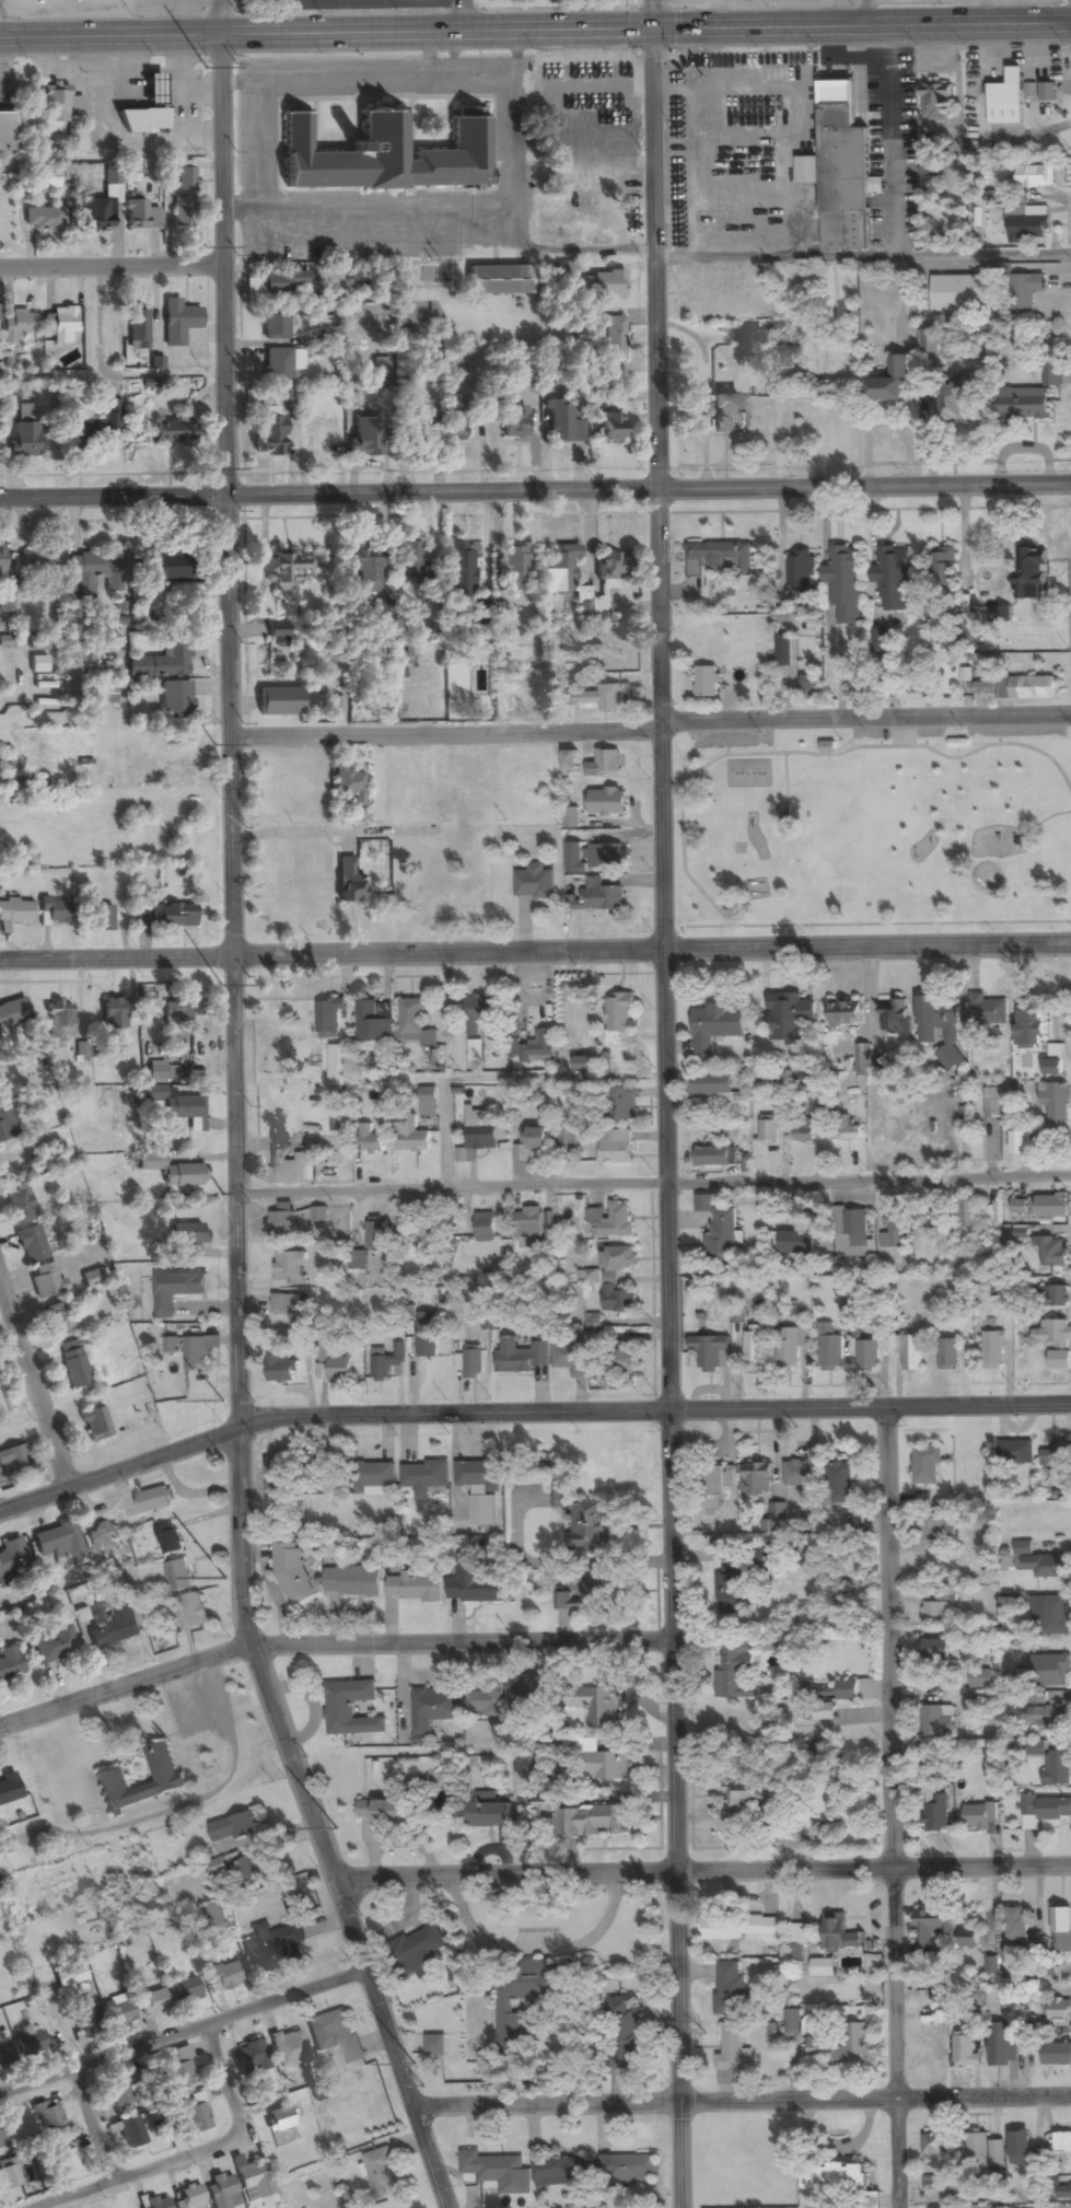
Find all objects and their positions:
road: (463, 14)
traffic signals: (651, 25)
road: (535, 27)
road: (0, 63)
power tower: (203, 67)
road: (235, 80)
building: (152, 91)
building: (1047, 92)
building: (1005, 100)
building: (936, 101)
building: (59, 105)
building: (141, 123)
building: (7, 133)
road: (110, 137)
road: (515, 142)
road: (255, 146)
building: (393, 149)
building: (842, 160)
building: (185, 177)
building: (1036, 177)
building: (49, 182)
road: (237, 211)
building: (182, 213)
building: (97, 216)
building: (139, 218)
building: (43, 219)
building: (1027, 224)
power tower: (206, 246)
road: (862, 254)
road: (110, 265)
building: (497, 281)
building: (601, 284)
building: (271, 287)
building: (1025, 291)
building: (957, 297)
building: (177, 324)
building: (18, 326)
building: (62, 326)
building: (275, 326)
building: (136, 334)
building: (613, 340)
building: (930, 342)
building: (790, 352)
building: (281, 367)
building: (380, 370)
building: (1051, 374)
building: (889, 382)
building: (1023, 403)
building: (955, 405)
building: (721, 414)
building: (454, 419)
building: (416, 421)
building: (512, 423)
building: (560, 423)
building: (95, 430)
building: (608, 430)
building: (173, 434)
building: (270, 437)
building: (364, 437)
building: (23, 441)
power tower: (209, 468)
road: (535, 491)
building: (719, 559)
building: (408, 561)
building: (0, 562)
building: (37, 563)
building: (514, 570)
building: (557, 571)
building: (92, 572)
building: (162, 572)
building: (801, 572)
building: (281, 573)
building: (1025, 573)
building: (457, 574)
building: (361, 576)
building: (893, 579)
building: (943, 581)
building: (845, 584)
building: (598, 589)
road: (27, 618)
building: (276, 632)
building: (880, 641)
building: (162, 663)
building: (513, 674)
building: (707, 683)
building: (1017, 688)
building: (102, 696)
building: (598, 699)
building: (174, 701)
building: (276, 702)
building: (335, 706)
building: (519, 707)
road: (650, 724)
power tower: (214, 744)
building: (174, 757)
building: (569, 758)
building: (604, 764)
building: (348, 786)
building: (606, 802)
building: (571, 817)
park: (870, 829)
building: (604, 856)
building: (347, 882)
building: (534, 882)
building: (606, 899)
building: (15, 913)
building: (50, 913)
building: (170, 917)
building: (100, 919)
road: (535, 950)
power tower: (219, 984)
building: (481, 1009)
building: (988, 1009)
building: (845, 1013)
building: (12, 1014)
building: (113, 1014)
building: (894, 1016)
building: (329, 1018)
building: (785, 1018)
building: (619, 1019)
building: (59, 1020)
building: (938, 1020)
building: (372, 1023)
building: (416, 1023)
building: (715, 1025)
building: (1031, 1029)
building: (533, 1047)
building: (862, 1060)
building: (1055, 1060)
building: (581, 1065)
building: (339, 1066)
building: (159, 1072)
building: (804, 1077)
building: (715, 1091)
building: (992, 1102)
building: (1055, 1102)
building: (428, 1103)
road: (667, 1103)
building: (621, 1104)
building: (174, 1107)
road: (235, 1120)
building: (5, 1126)
building: (768, 1129)
building: (803, 1130)
building: (845, 1130)
building: (479, 1131)
building: (410, 1135)
building: (537, 1139)
building: (567, 1139)
building: (370, 1140)
building: (992, 1142)
building: (1020, 1142)
building: (616, 1146)
building: (54, 1150)
building: (713, 1157)
building: (288, 1167)
building: (172, 1172)
road: (653, 1182)
power tower: (221, 1194)
building: (1052, 1206)
building: (1018, 1207)
building: (18, 1208)
building: (968, 1215)
building: (612, 1220)
building: (528, 1223)
building: (282, 1225)
building: (485, 1228)
building: (424, 1230)
building: (375, 1233)
building: (719, 1233)
building: (852, 1233)
building: (186, 1234)
building: (798, 1239)
building: (30, 1245)
building: (1053, 1252)
building: (359, 1258)
building: (613, 1264)
building: (290, 1269)
building: (91, 1279)
building: (46, 1281)
building: (175, 1291)
building: (1050, 1295)
building: (618, 1300)
building: (58, 1320)
building: (1055, 1333)
building: (427, 1335)
building: (172, 1346)
building: (754, 1346)
building: (791, 1347)
building: (829, 1348)
building: (992, 1350)
building: (199, 1351)
building: (711, 1352)
building: (910, 1352)
building: (947, 1353)
building: (868, 1356)
building: (521, 1357)
building: (570, 1358)
building: (622, 1360)
building: (1059, 1360)
building: (386, 1362)
building: (473, 1363)
building: (73, 1366)
building: (281, 1368)
road: (33, 1385)
power tower: (224, 1399)
road: (677, 1403)
building: (2, 1404)
building: (95, 1426)
building: (1015, 1452)
building: (1057, 1456)
building: (13, 1461)
road: (141, 1461)
building: (927, 1465)
building: (801, 1473)
building: (478, 1474)
building: (280, 1475)
building: (377, 1475)
building: (426, 1475)
building: (757, 1477)
building: (839, 1483)
building: (714, 1486)
building: (152, 1501)
building: (779, 1512)
building: (584, 1522)
building: (938, 1526)
building: (103, 1539)
building: (168, 1539)
building: (59, 1546)
building: (11, 1557)
building: (1038, 1564)
building: (292, 1572)
building: (178, 1577)
power tower: (225, 1577)
building: (351, 1582)
building: (473, 1582)
building: (415, 1588)
building: (729, 1590)
building: (586, 1595)
building: (933, 1611)
building: (191, 1613)
building: (1051, 1614)
building: (107, 1626)
road: (330, 1641)
building: (54, 1646)
building: (935, 1651)
building: (9, 1664)
building: (735, 1671)
building: (1049, 1671)
building: (980, 1678)
building: (527, 1688)
building: (847, 1690)
building: (485, 1701)
building: (595, 1704)
building: (434, 1708)
building: (350, 1709)
building: (824, 1711)
building: (1049, 1716)
building: (938, 1721)
building: (742, 1723)
building: (1052, 1764)
building: (604, 1766)
building: (168, 1779)
building: (9, 1789)
building: (742, 1796)
road: (889, 1803)
building: (1046, 1809)
building: (384, 1812)
building: (487, 1812)
building: (935, 1814)
building: (581, 1817)
building: (979, 1817)
building: (238, 1826)
power tower: (337, 1828)
building: (810, 1828)
building: (253, 1869)
road: (706, 1875)
building: (295, 1910)
building: (89, 1917)
building: (932, 1927)
building: (1016, 1927)
building: (737, 1928)
building: (839, 1933)
building: (1061, 1933)
building: (798, 1936)
building: (967, 1938)
building: (273, 1948)
building: (418, 1951)
building: (991, 1966)
building: (69, 1976)
building: (222, 1977)
building: (730, 1989)
building: (186, 1991)
building: (525, 1996)
building: (151, 2003)
building: (1059, 2010)
building: (121, 2013)
building: (83, 2014)
building: (624, 2031)
road: (184, 2033)
building: (336, 2035)
building: (34, 2043)
building: (435, 2045)
building: (1001, 2046)
building: (931, 2047)
building: (965, 2047)
building: (288, 2048)
building: (842, 2048)
building: (732, 2053)
building: (1, 2055)
building: (1056, 2055)
building: (249, 2058)
power tower: (414, 2061)
building: (176, 2070)
road: (234, 2081)
building: (119, 2092)
road: (741, 2101)
building: (48, 2117)
building: (194, 2118)
building: (280, 2119)
road: (102, 2126)
building: (130, 2134)
building: (2, 2141)
building: (1062, 2143)
building: (934, 2147)
building: (1018, 2148)
building: (985, 2151)
building: (62, 2159)
building: (491, 2166)
building: (626, 2169)
building: (560, 2173)
road: (142, 2174)
building: (382, 2174)
building: (8, 2175)
building: (835, 2178)
building: (221, 2192)
building: (1063, 2193)
building: (189, 2197)
building: (153, 2203)

